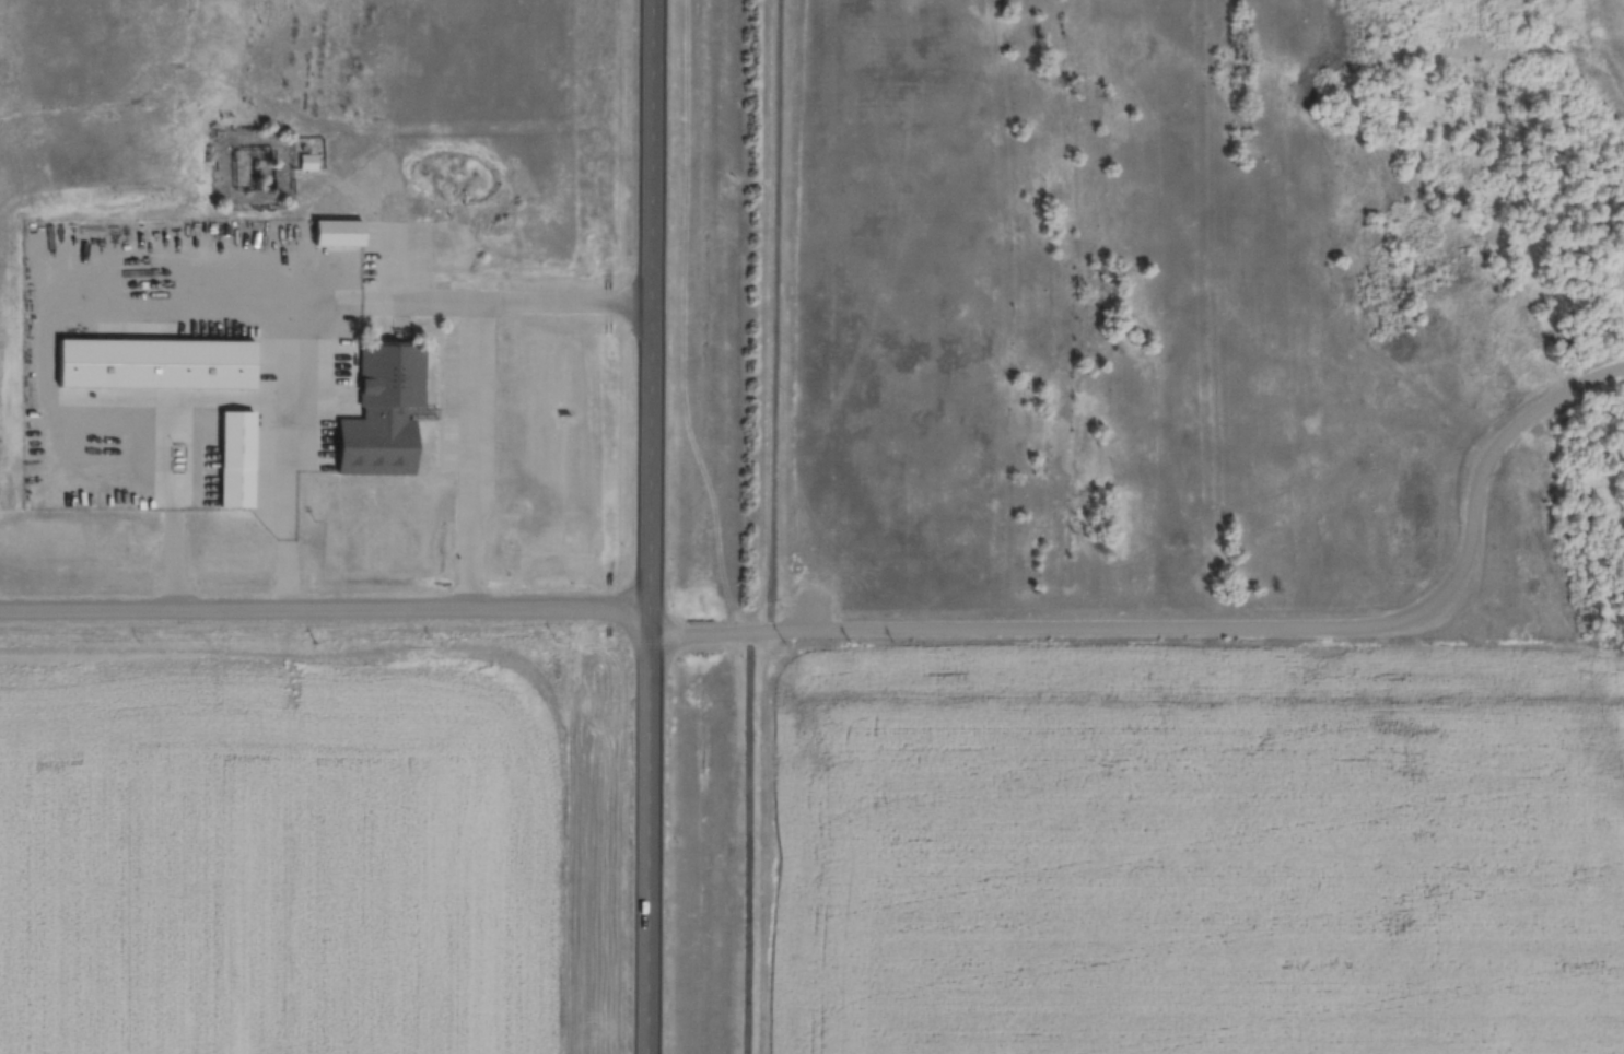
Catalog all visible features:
building: (309, 162)
building: (335, 219)
building: (341, 233)
building: (385, 411)
building: (235, 444)
road: (647, 527)
road: (772, 529)
road: (324, 606)
road: (1210, 625)
crop: (278, 845)

